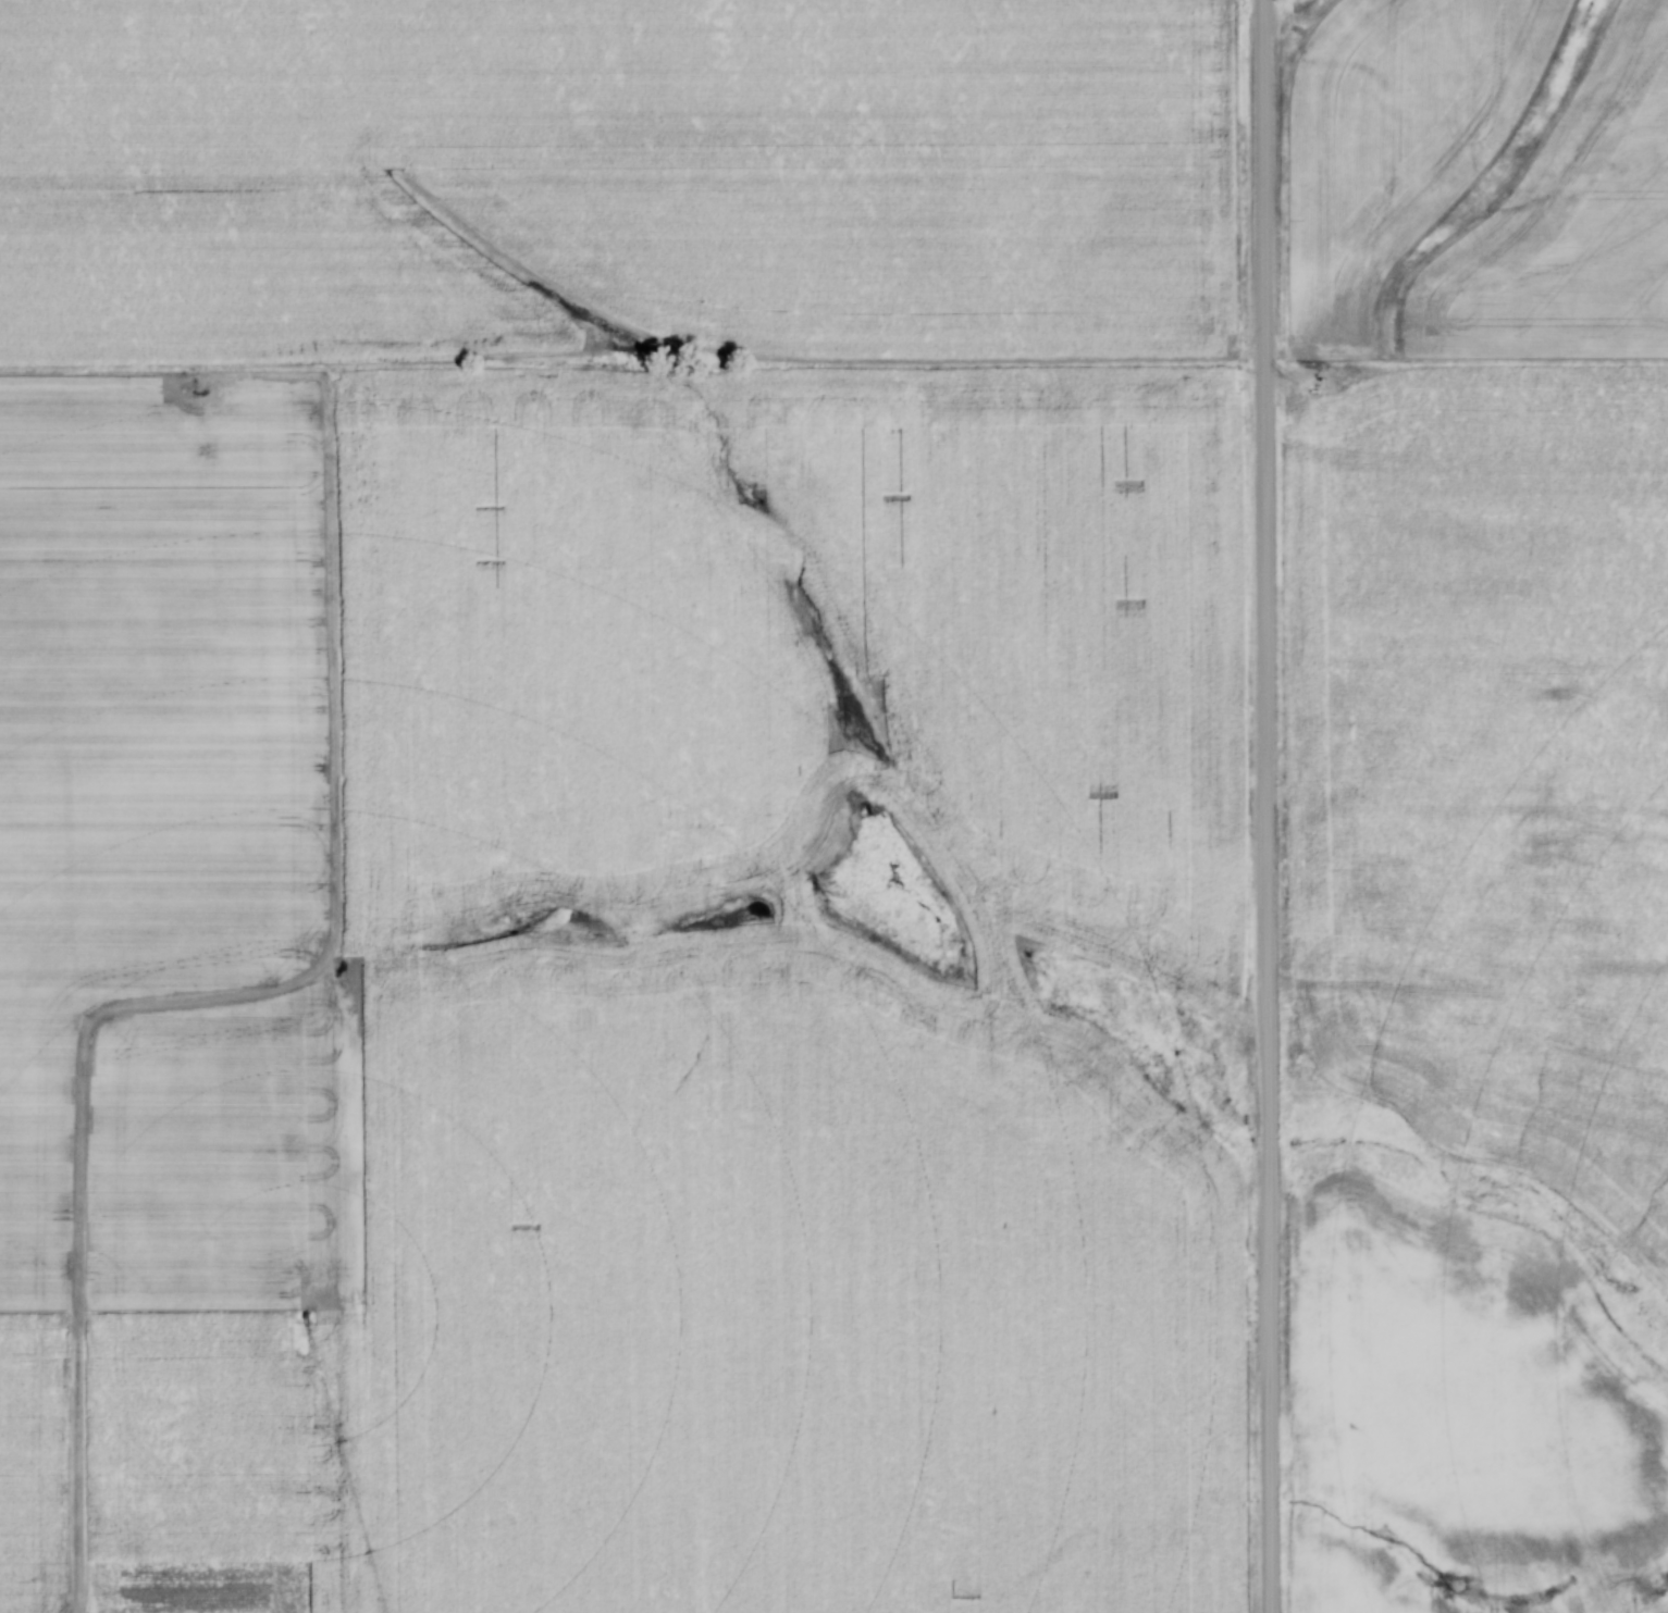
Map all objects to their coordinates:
road: (1268, 806)
road: (1470, 988)
building: (1586, 1034)

